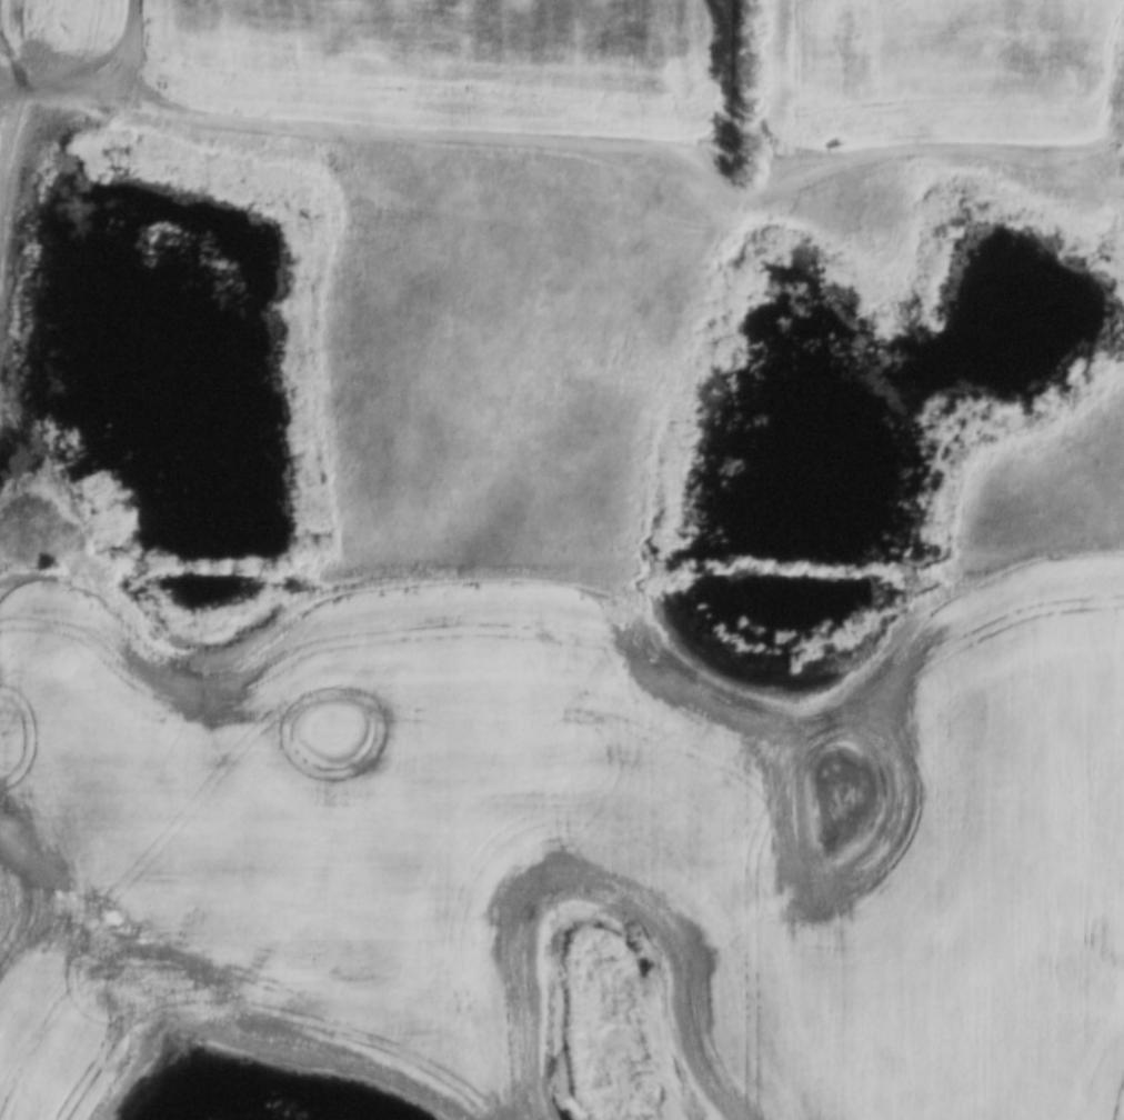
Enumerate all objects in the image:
road: (78, 57)

